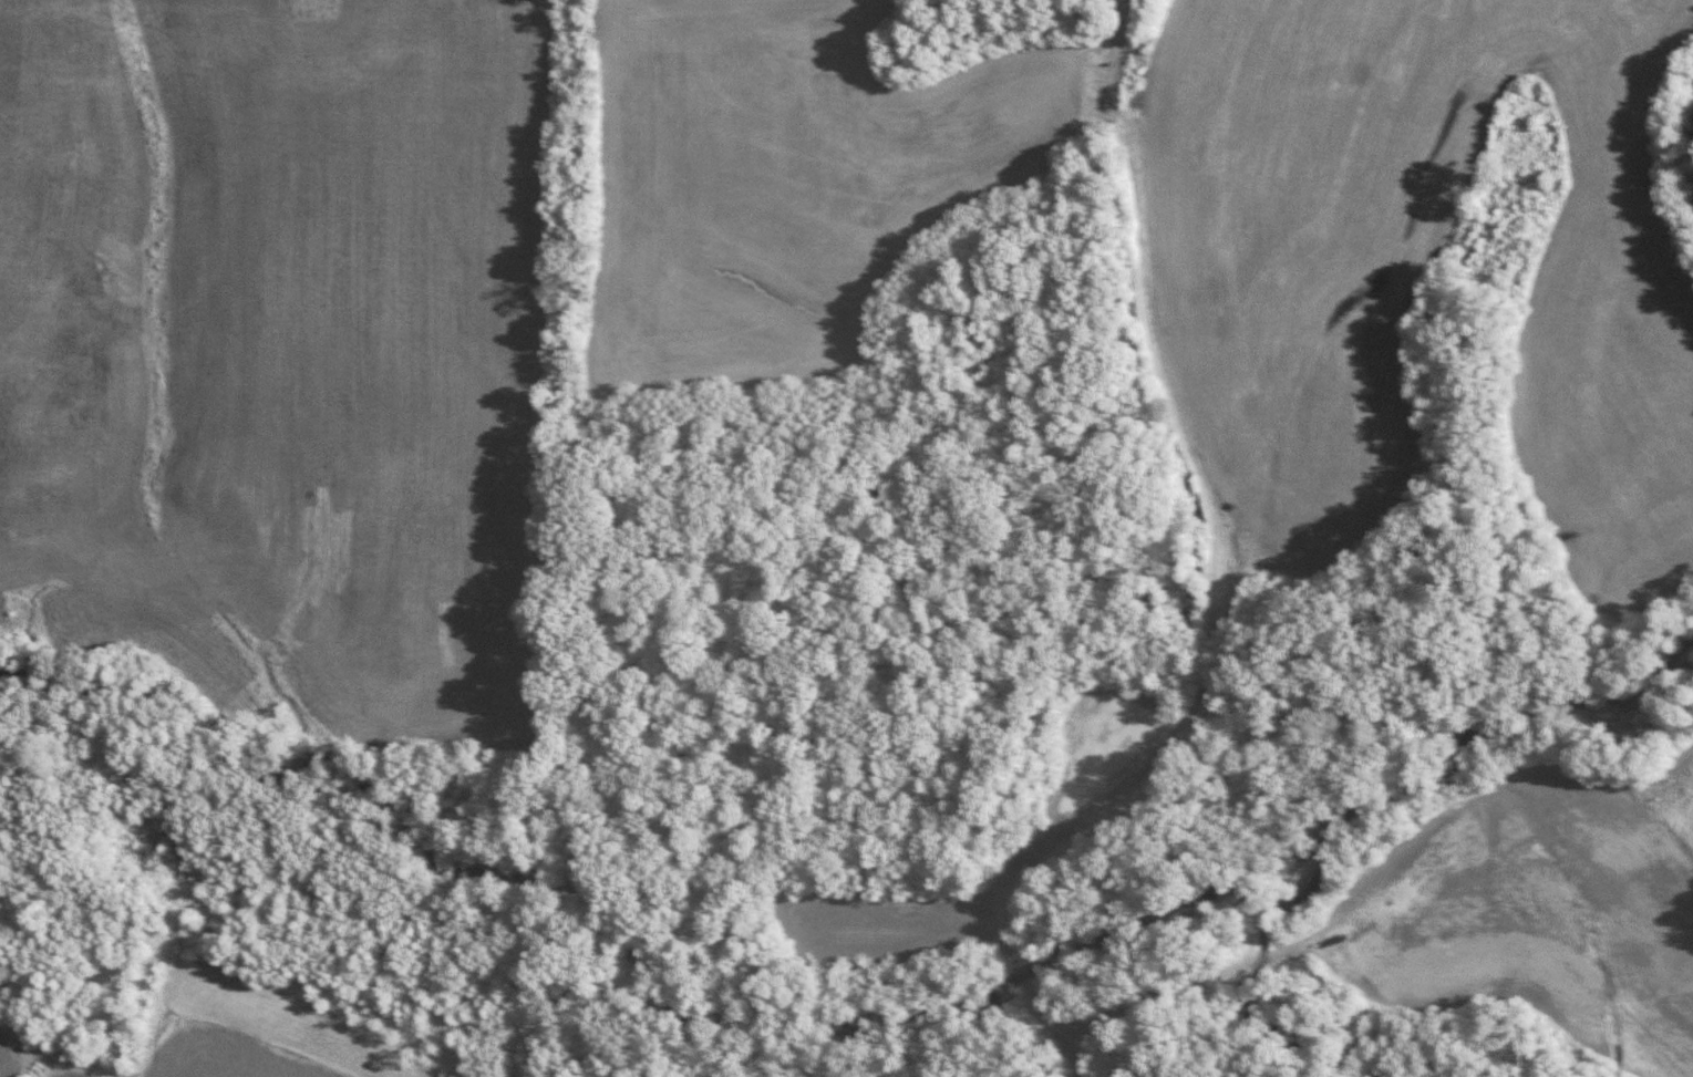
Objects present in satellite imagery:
park: (314, 9)

